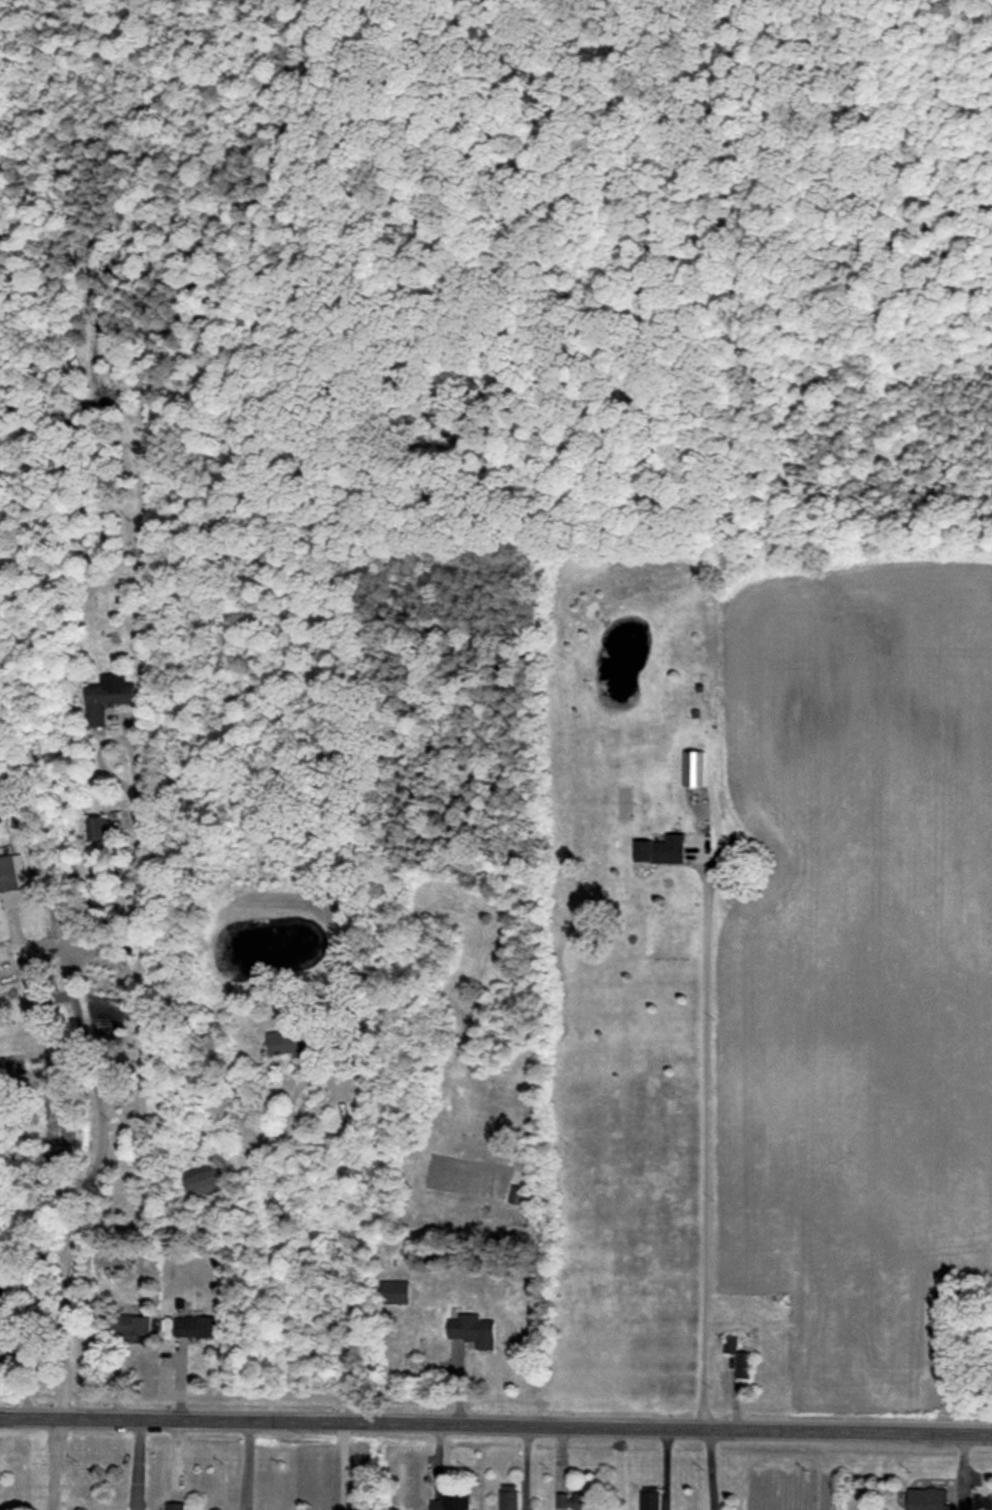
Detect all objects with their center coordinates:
building: (106, 697)
building: (96, 828)
building: (661, 850)
building: (8, 874)
road: (140, 1010)
building: (292, 1043)
road: (702, 1134)
road: (94, 1166)
building: (205, 1182)
building: (517, 1195)
road: (296, 1250)
building: (395, 1292)
building: (4, 1314)
building: (133, 1325)
building: (195, 1326)
building: (472, 1330)
building: (730, 1345)
building: (744, 1365)
road: (496, 1422)
road: (51, 1462)
road: (662, 1467)
road: (708, 1468)
building: (509, 1497)
building: (650, 1498)
building: (927, 1499)
building: (452, 1503)
building: (177, 1506)

